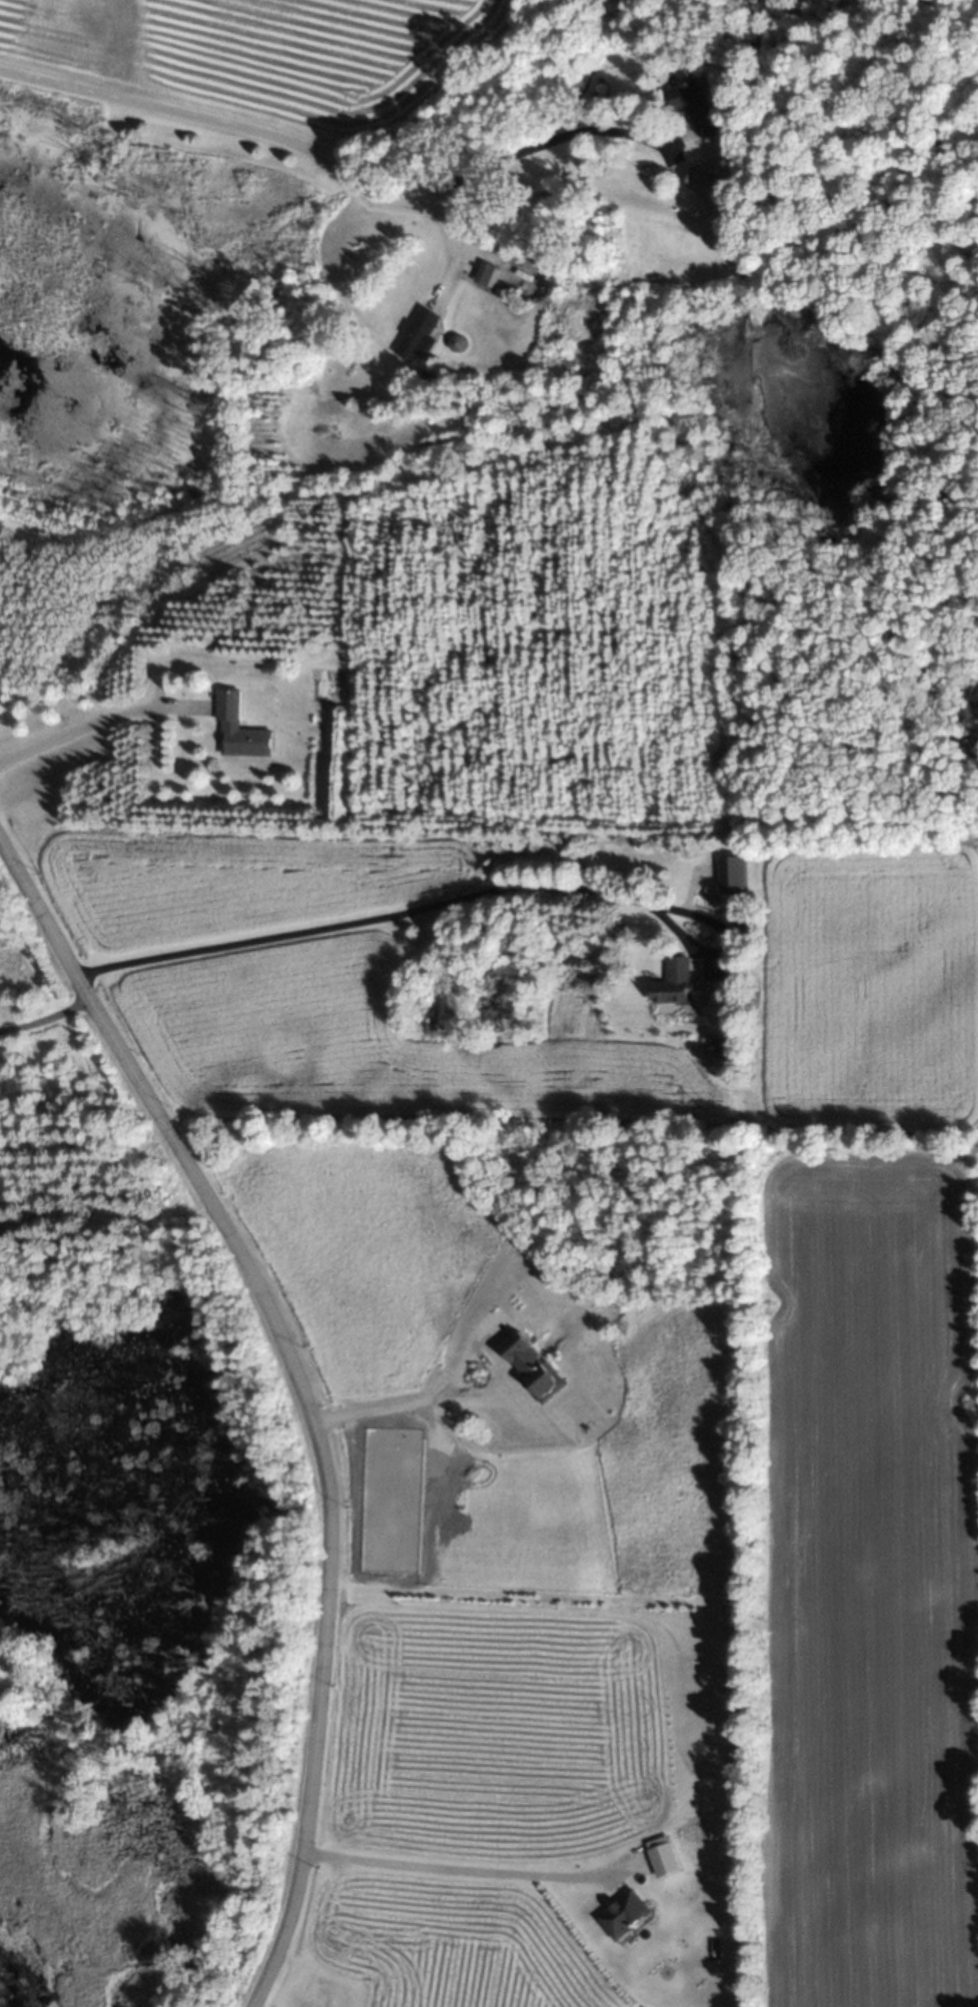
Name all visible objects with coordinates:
building: (691, 106)
road: (334, 171)
road: (449, 242)
building: (408, 335)
road: (93, 722)
building: (236, 730)
building: (729, 875)
road: (462, 897)
building: (671, 982)
road: (44, 1018)
building: (528, 1365)
road: (303, 1392)
road: (419, 1401)
road: (454, 1869)
building: (621, 1914)
building: (316, 1996)

